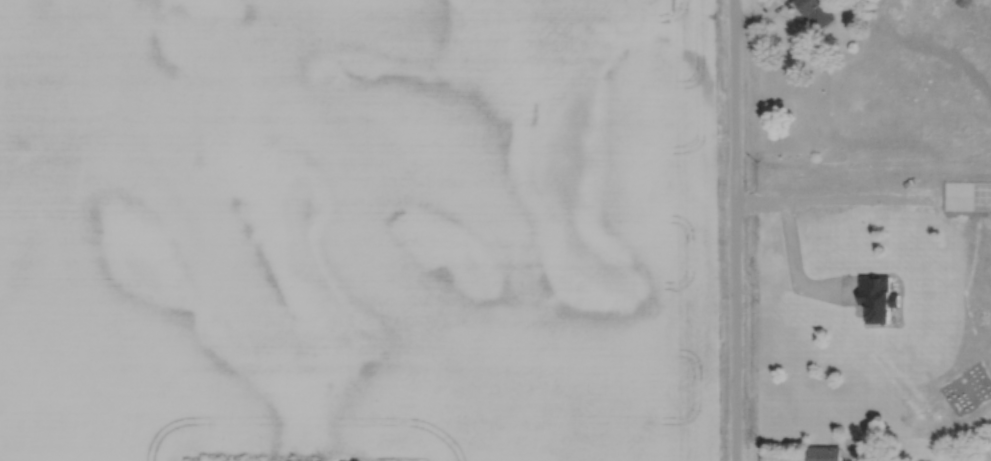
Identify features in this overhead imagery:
building: (816, 13)
building: (912, 196)
road: (740, 230)
building: (842, 230)
road: (790, 244)
building: (825, 453)

